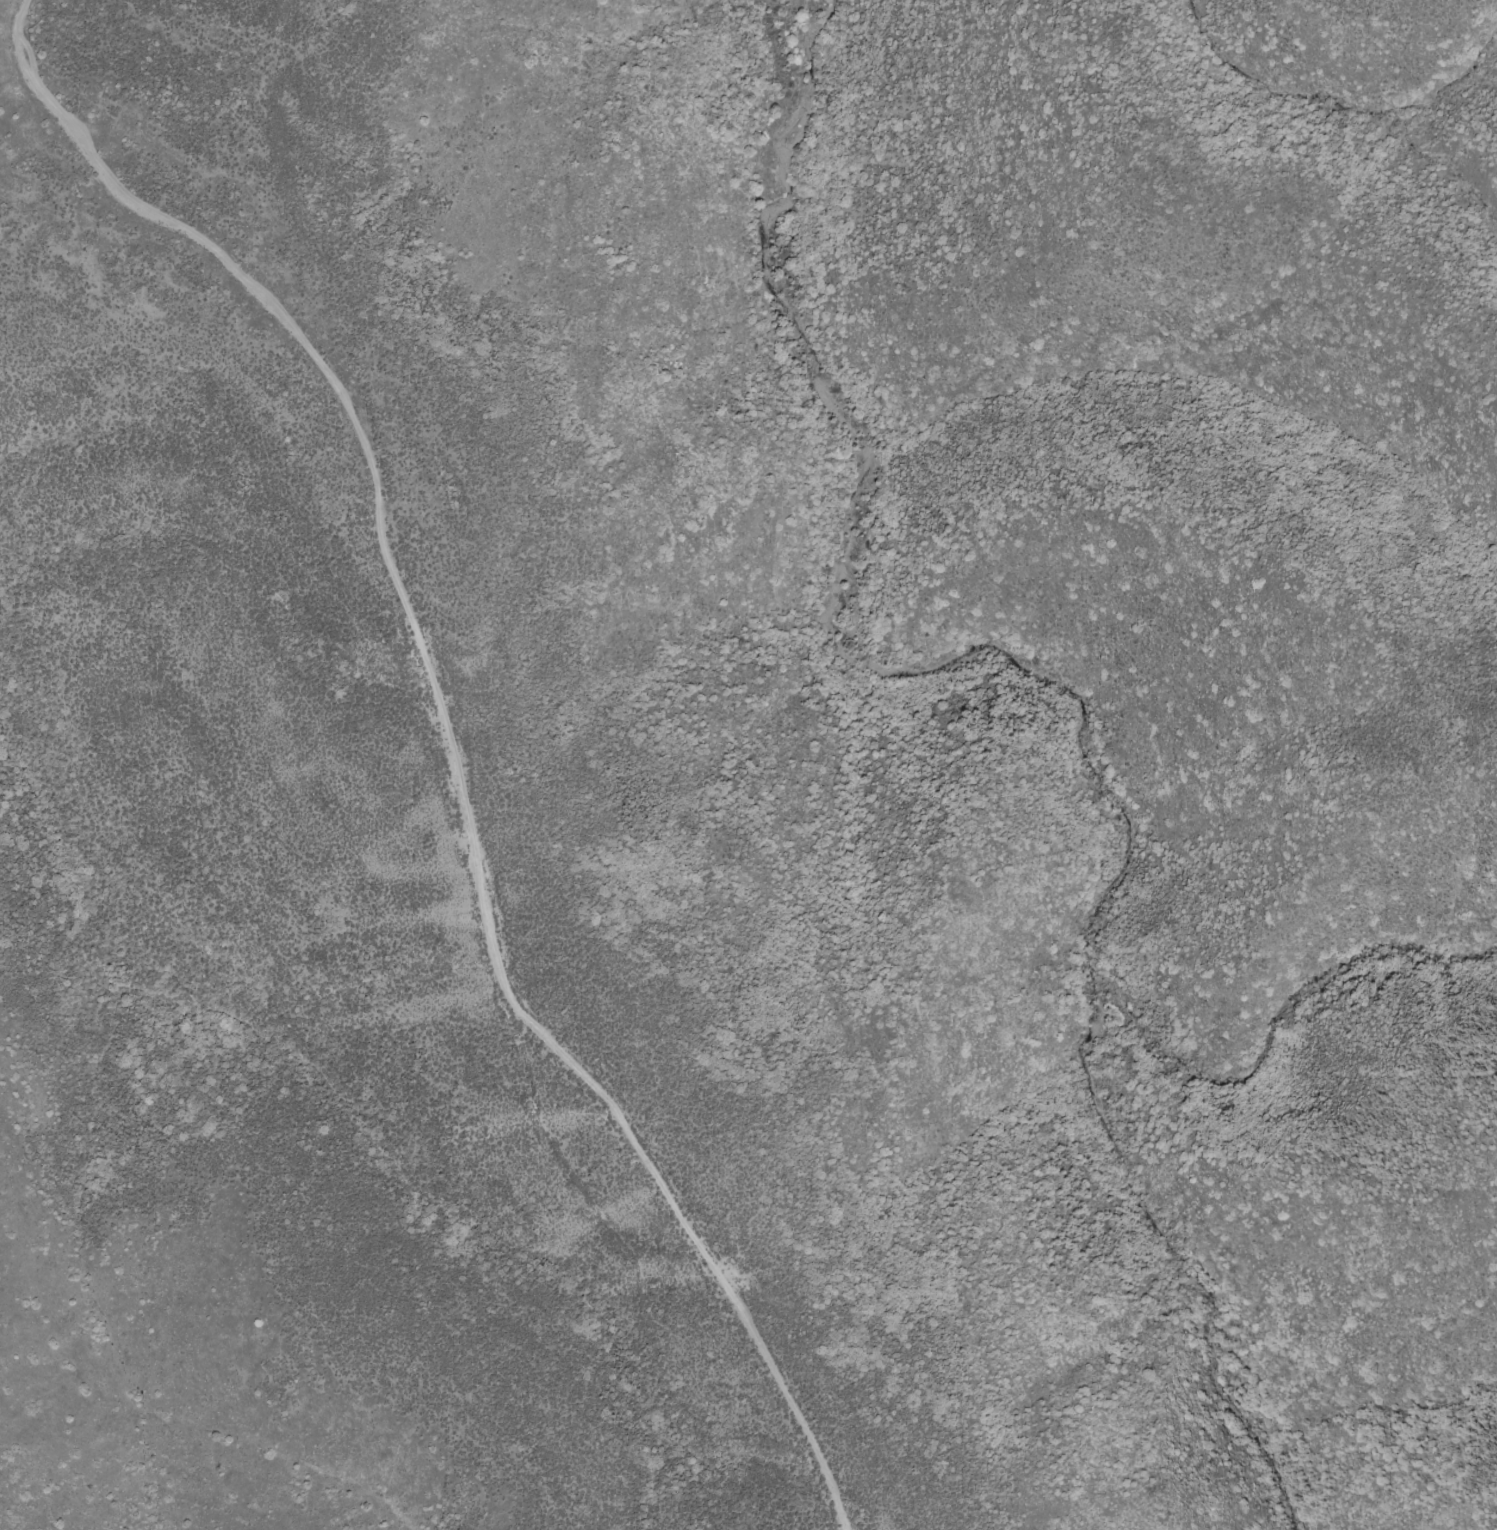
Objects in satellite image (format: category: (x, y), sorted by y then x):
road: (446, 740)

